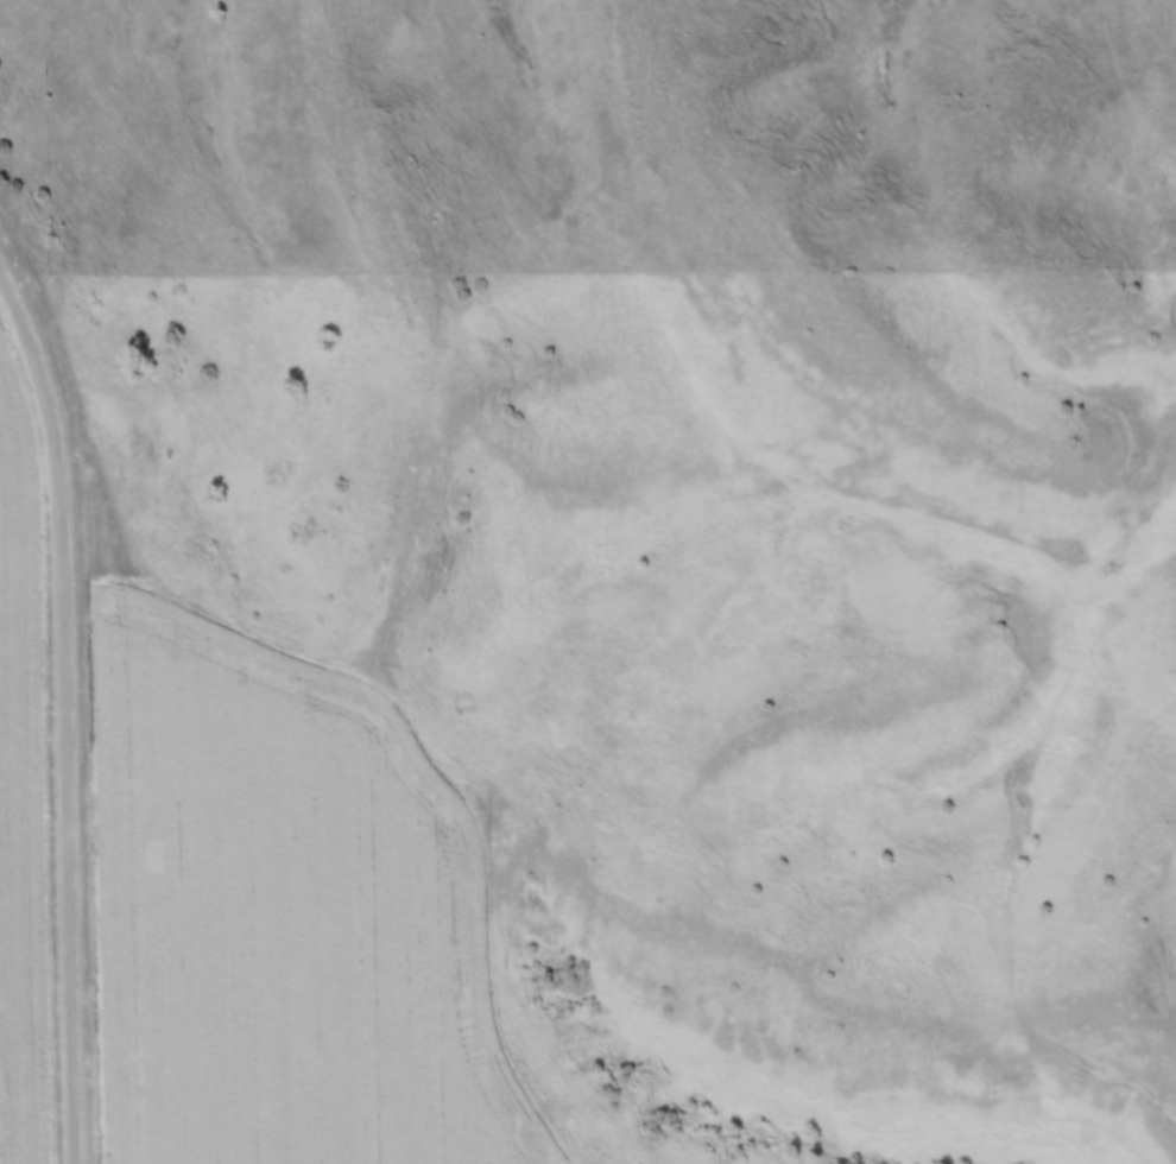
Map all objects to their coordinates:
road: (27, 327)
road: (70, 777)

